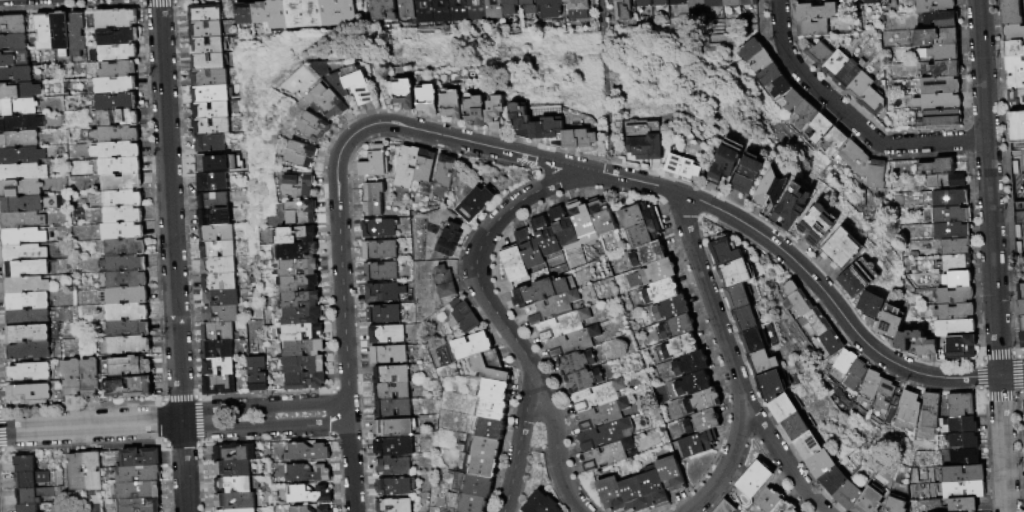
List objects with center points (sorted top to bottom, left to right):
road: (138, 0)
road: (174, 1)
building: (673, 2)
building: (743, 2)
building: (867, 2)
building: (878, 2)
road: (140, 3)
road: (158, 3)
building: (639, 3)
building: (655, 3)
building: (708, 3)
building: (726, 3)
building: (691, 4)
building: (522, 6)
building: (931, 6)
building: (503, 7)
building: (544, 8)
building: (401, 9)
building: (487, 9)
building: (573, 9)
building: (378, 10)
building: (469, 10)
building: (617, 10)
building: (418, 11)
building: (436, 11)
building: (453, 11)
building: (811, 11)
building: (1007, 12)
building: (202, 13)
building: (253, 13)
building: (322, 13)
building: (339, 13)
building: (287, 14)
building: (305, 14)
building: (237, 15)
building: (270, 15)
building: (117, 19)
building: (942, 20)
building: (13, 25)
building: (808, 27)
building: (203, 29)
building: (45, 32)
building: (61, 33)
building: (1011, 33)
building: (77, 35)
building: (118, 37)
building: (934, 37)
building: (1023, 41)
building: (13, 43)
building: (204, 45)
building: (1011, 48)
building: (745, 50)
building: (815, 51)
building: (118, 53)
building: (939, 53)
building: (14, 59)
building: (205, 61)
building: (757, 61)
building: (832, 62)
building: (1012, 65)
building: (118, 69)
building: (942, 69)
building: (844, 72)
building: (16, 75)
building: (764, 75)
building: (206, 77)
park: (602, 79)
building: (1013, 81)
building: (856, 84)
building: (116, 85)
building: (349, 85)
building: (936, 86)
building: (776, 87)
building: (197, 90)
building: (399, 91)
building: (19, 92)
building: (1014, 97)
building: (424, 98)
building: (867, 98)
building: (326, 101)
building: (789, 101)
building: (117, 102)
building: (935, 102)
building: (448, 104)
building: (18, 107)
building: (472, 108)
building: (492, 108)
building: (208, 110)
building: (801, 115)
building: (118, 118)
road: (849, 118)
building: (935, 118)
building: (21, 123)
building: (532, 124)
building: (209, 126)
building: (310, 126)
building: (1016, 126)
building: (816, 129)
building: (116, 135)
building: (577, 137)
building: (19, 140)
building: (641, 140)
building: (208, 142)
building: (831, 142)
building: (117, 151)
building: (300, 154)
building: (21, 156)
building: (851, 159)
building: (209, 162)
building: (373, 162)
building: (721, 163)
building: (679, 165)
building: (121, 167)
building: (405, 167)
building: (422, 167)
building: (935, 167)
building: (23, 172)
building: (442, 173)
park: (1017, 174)
building: (872, 175)
building: (745, 176)
building: (210, 181)
building: (943, 181)
building: (122, 182)
building: (296, 184)
building: (21, 188)
building: (768, 190)
building: (949, 198)
building: (123, 199)
building: (210, 200)
building: (370, 200)
building: (473, 203)
building: (22, 205)
building: (787, 208)
building: (295, 213)
building: (636, 214)
building: (949, 214)
building: (124, 215)
road: (729, 215)
building: (599, 216)
building: (212, 217)
building: (580, 219)
building: (23, 220)
building: (814, 224)
building: (376, 229)
building: (562, 229)
building: (950, 230)
building: (122, 232)
building: (214, 232)
building: (642, 232)
park: (1018, 234)
building: (23, 236)
building: (287, 236)
building: (449, 238)
building: (545, 239)
road: (339, 245)
building: (954, 246)
building: (126, 248)
building: (215, 248)
building: (379, 249)
building: (839, 249)
building: (528, 250)
building: (723, 251)
building: (291, 252)
building: (24, 253)
building: (646, 253)
road: (171, 255)
road: (992, 255)
road: (475, 261)
building: (955, 262)
building: (512, 263)
building: (123, 264)
building: (216, 265)
building: (292, 268)
building: (27, 269)
building: (656, 270)
building: (381, 271)
building: (734, 272)
building: (858, 277)
building: (956, 279)
building: (124, 280)
building: (217, 281)
building: (445, 282)
building: (291, 284)
building: (26, 285)
building: (788, 287)
building: (541, 289)
building: (659, 290)
building: (1019, 291)
building: (376, 293)
building: (953, 295)
building: (127, 296)
building: (735, 296)
building: (219, 297)
building: (27, 301)
building: (292, 301)
building: (796, 303)
building: (871, 304)
building: (550, 306)
building: (669, 307)
building: (1019, 308)
building: (952, 311)
building: (129, 312)
building: (218, 313)
building: (382, 314)
building: (465, 315)
building: (294, 317)
building: (28, 318)
building: (745, 318)
building: (889, 321)
building: (815, 322)
building: (561, 324)
building: (1019, 324)
building: (675, 325)
building: (952, 327)
building: (128, 329)
building: (216, 330)
building: (295, 333)
building: (29, 334)
building: (382, 335)
building: (905, 339)
building: (752, 340)
building: (1020, 340)
building: (571, 341)
building: (829, 342)
building: (130, 345)
building: (678, 345)
building: (468, 346)
building: (924, 347)
building: (214, 348)
building: (955, 348)
building: (296, 349)
building: (29, 351)
building: (384, 355)
road: (729, 358)
building: (573, 361)
building: (843, 361)
building: (689, 362)
building: (761, 362)
building: (297, 366)
building: (127, 367)
building: (487, 367)
building: (208, 370)
building: (30, 372)
building: (254, 373)
building: (854, 374)
building: (388, 376)
building: (72, 378)
building: (91, 378)
building: (581, 379)
building: (298, 382)
building: (691, 382)
building: (772, 383)
building: (870, 383)
building: (216, 384)
building: (130, 387)
building: (493, 390)
building: (389, 393)
building: (31, 394)
building: (596, 394)
building: (883, 395)
building: (701, 399)
building: (958, 403)
building: (1023, 403)
building: (906, 404)
road: (263, 405)
building: (780, 407)
building: (389, 409)
building: (491, 409)
building: (929, 410)
road: (348, 412)
building: (599, 414)
road: (524, 420)
building: (701, 420)
building: (1023, 422)
road: (552, 423)
building: (960, 423)
road: (90, 425)
building: (796, 425)
road: (263, 428)
building: (490, 428)
building: (391, 429)
building: (603, 433)
park: (537, 436)
building: (961, 439)
building: (690, 444)
building: (806, 445)
building: (485, 447)
building: (391, 448)
building: (303, 452)
building: (235, 453)
building: (604, 454)
building: (963, 455)
building: (141, 458)
road: (783, 458)
building: (819, 463)
building: (26, 464)
building: (481, 466)
road: (351, 467)
building: (394, 467)
building: (233, 469)
building: (94, 471)
building: (78, 472)
building: (962, 472)
building: (670, 473)
building: (139, 474)
building: (304, 474)
building: (32, 479)
road: (511, 479)
building: (753, 479)
building: (831, 479)
building: (472, 485)
road: (564, 485)
building: (234, 486)
building: (652, 486)
building: (391, 488)
building: (961, 488)
building: (139, 491)
building: (610, 493)
building: (633, 494)
building: (846, 494)
building: (34, 495)
building: (303, 495)
building: (868, 500)
building: (235, 501)
building: (766, 501)
building: (465, 502)
building: (896, 503)
building: (540, 504)
building: (961, 504)
building: (140, 505)
building: (392, 506)
building: (724, 507)
building: (782, 507)
building: (28, 508)
building: (319, 509)
building: (241, 510)
building: (296, 510)

